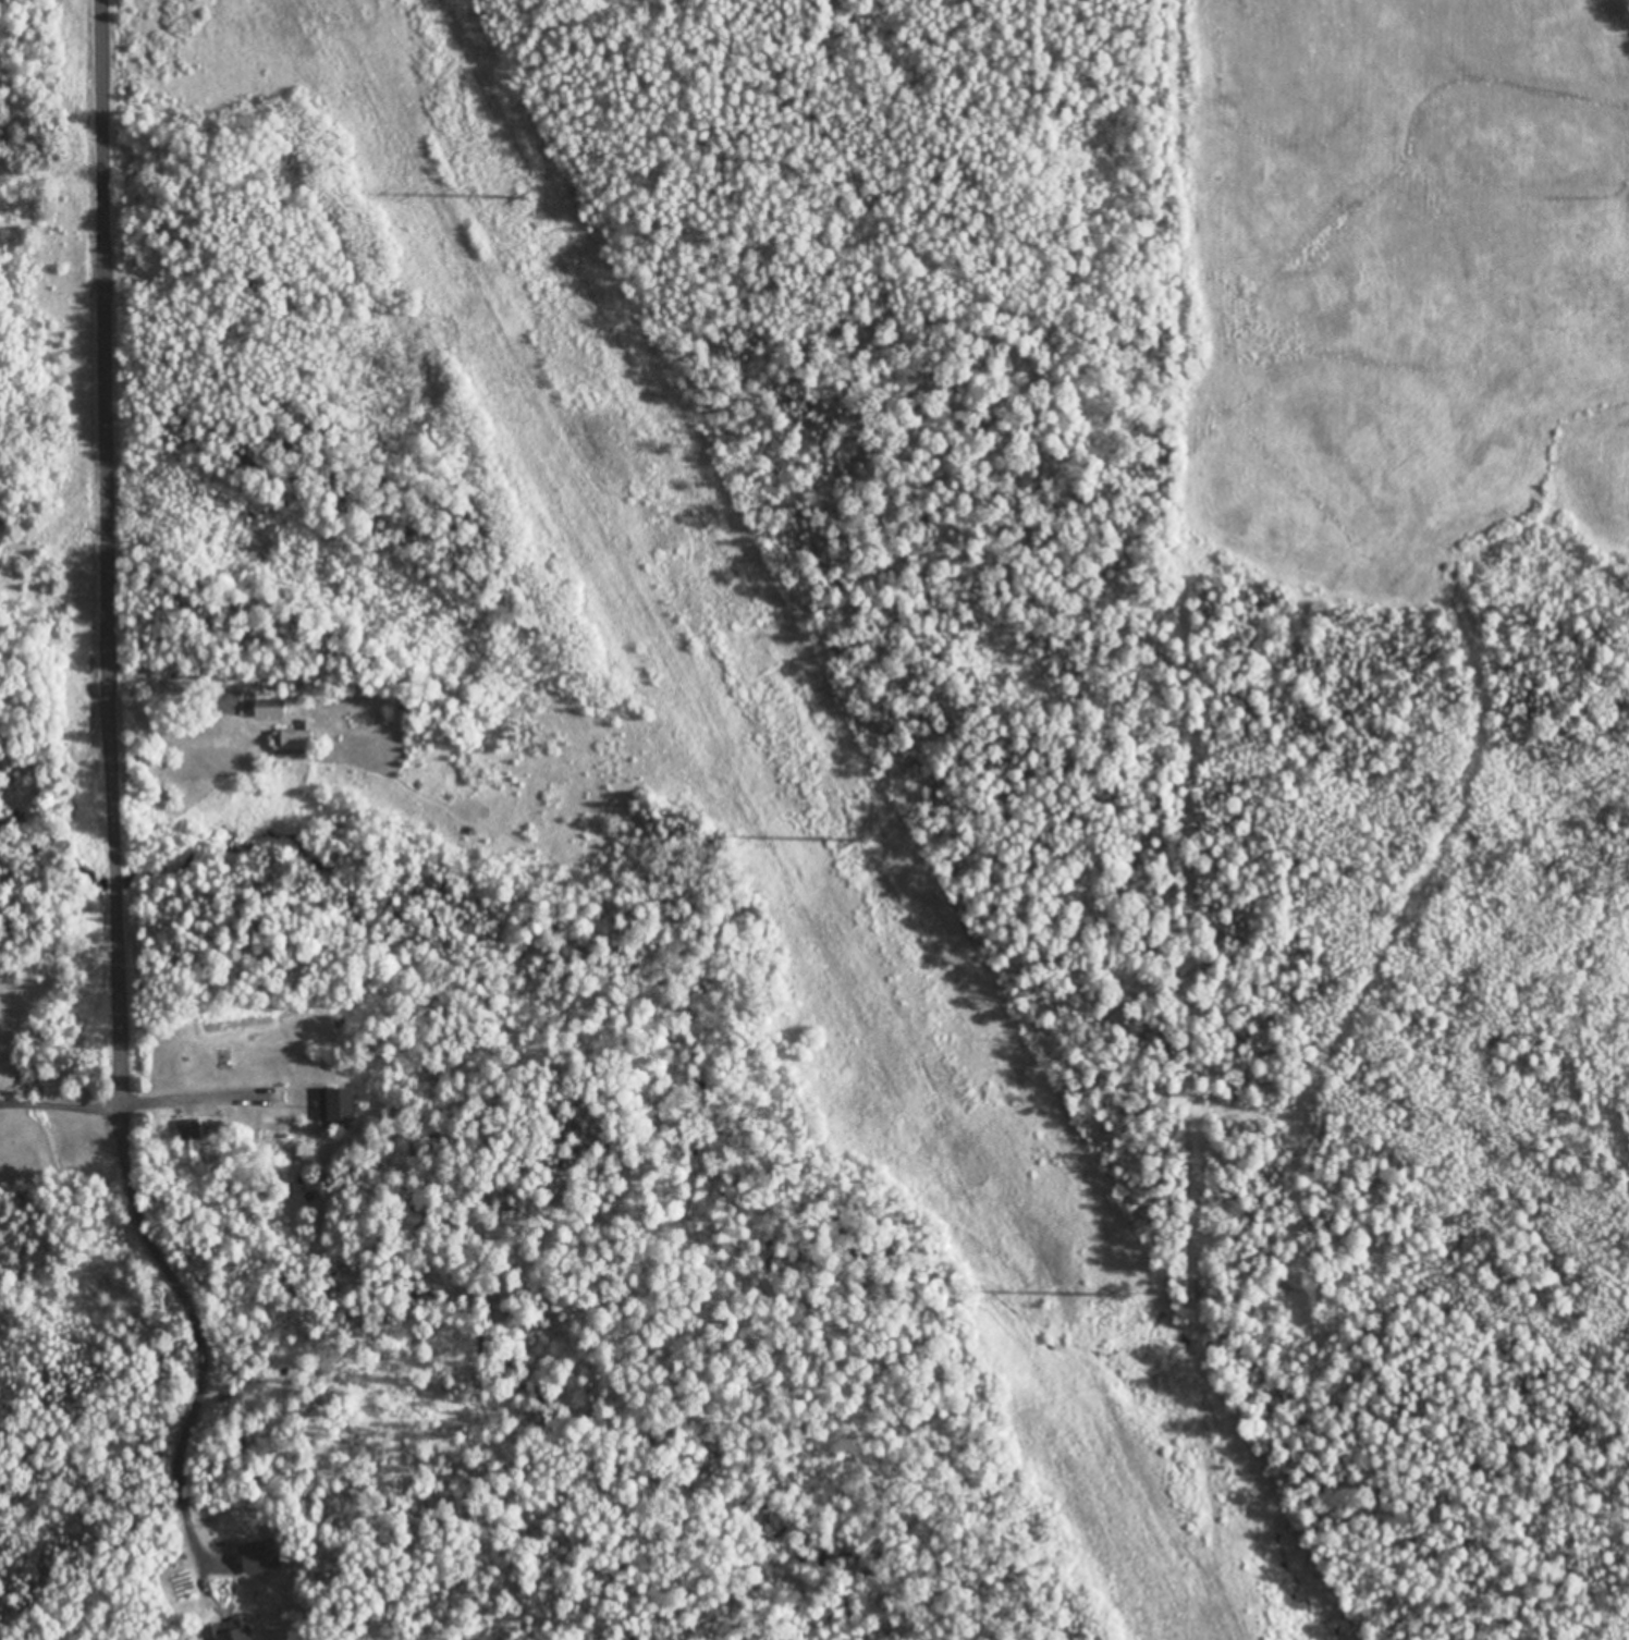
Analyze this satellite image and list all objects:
power tower: (522, 196)
crop: (1405, 284)
road: (119, 550)
building: (269, 710)
building: (293, 741)
power tower: (858, 839)
building: (222, 1058)
building: (335, 1105)
building: (188, 1142)
power tower: (1112, 1293)
building: (258, 1556)
building: (231, 1630)

